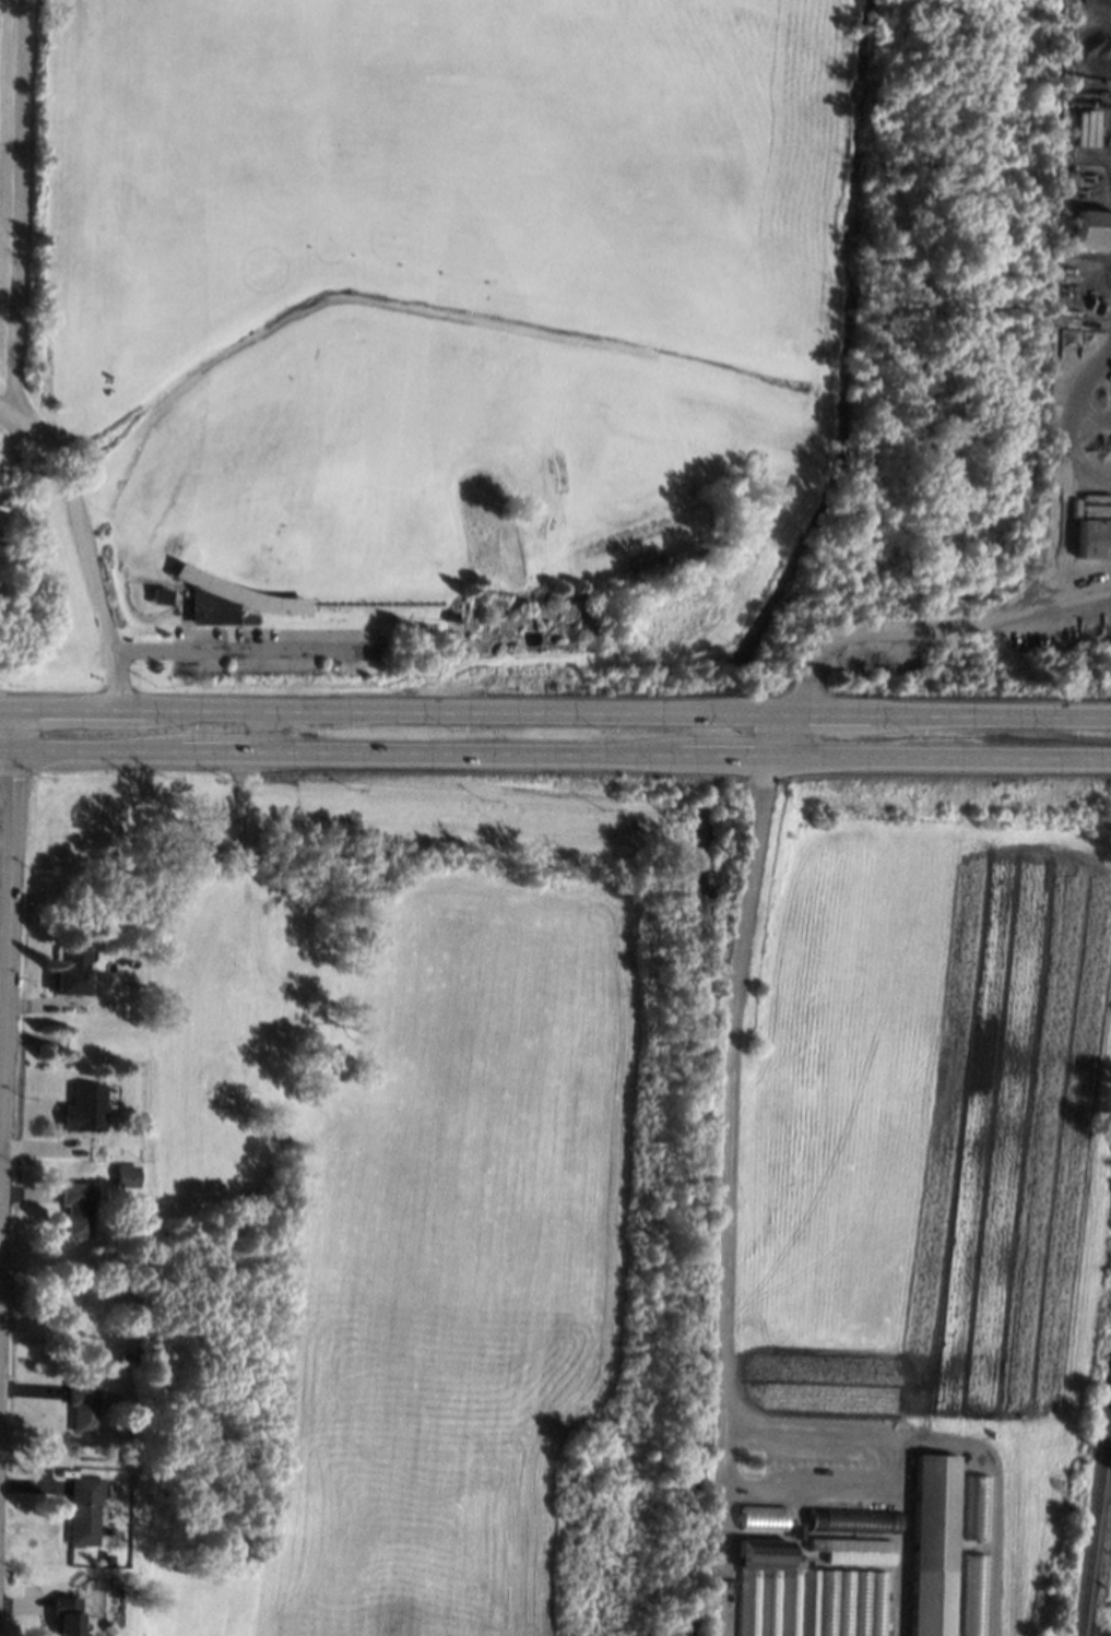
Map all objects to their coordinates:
road: (20, 215)
building: (1091, 227)
building: (1095, 536)
road: (83, 546)
building: (158, 595)
building: (227, 598)
road: (1083, 601)
road: (1029, 608)
building: (449, 616)
road: (247, 653)
road: (555, 712)
road: (267, 734)
road: (779, 737)
road: (555, 759)
crop: (1, 843)
road: (5, 959)
building: (70, 969)
building: (79, 1007)
building: (84, 1106)
crop: (579, 1157)
building: (127, 1175)
building: (76, 1208)
road: (723, 1313)
building: (82, 1404)
building: (978, 1507)
building: (83, 1510)
building: (760, 1517)
building: (853, 1519)
railway: (1097, 1528)
building: (934, 1544)
building: (854, 1549)
building: (106, 1560)
building: (731, 1584)
building: (803, 1594)
building: (977, 1594)
building: (66, 1614)

